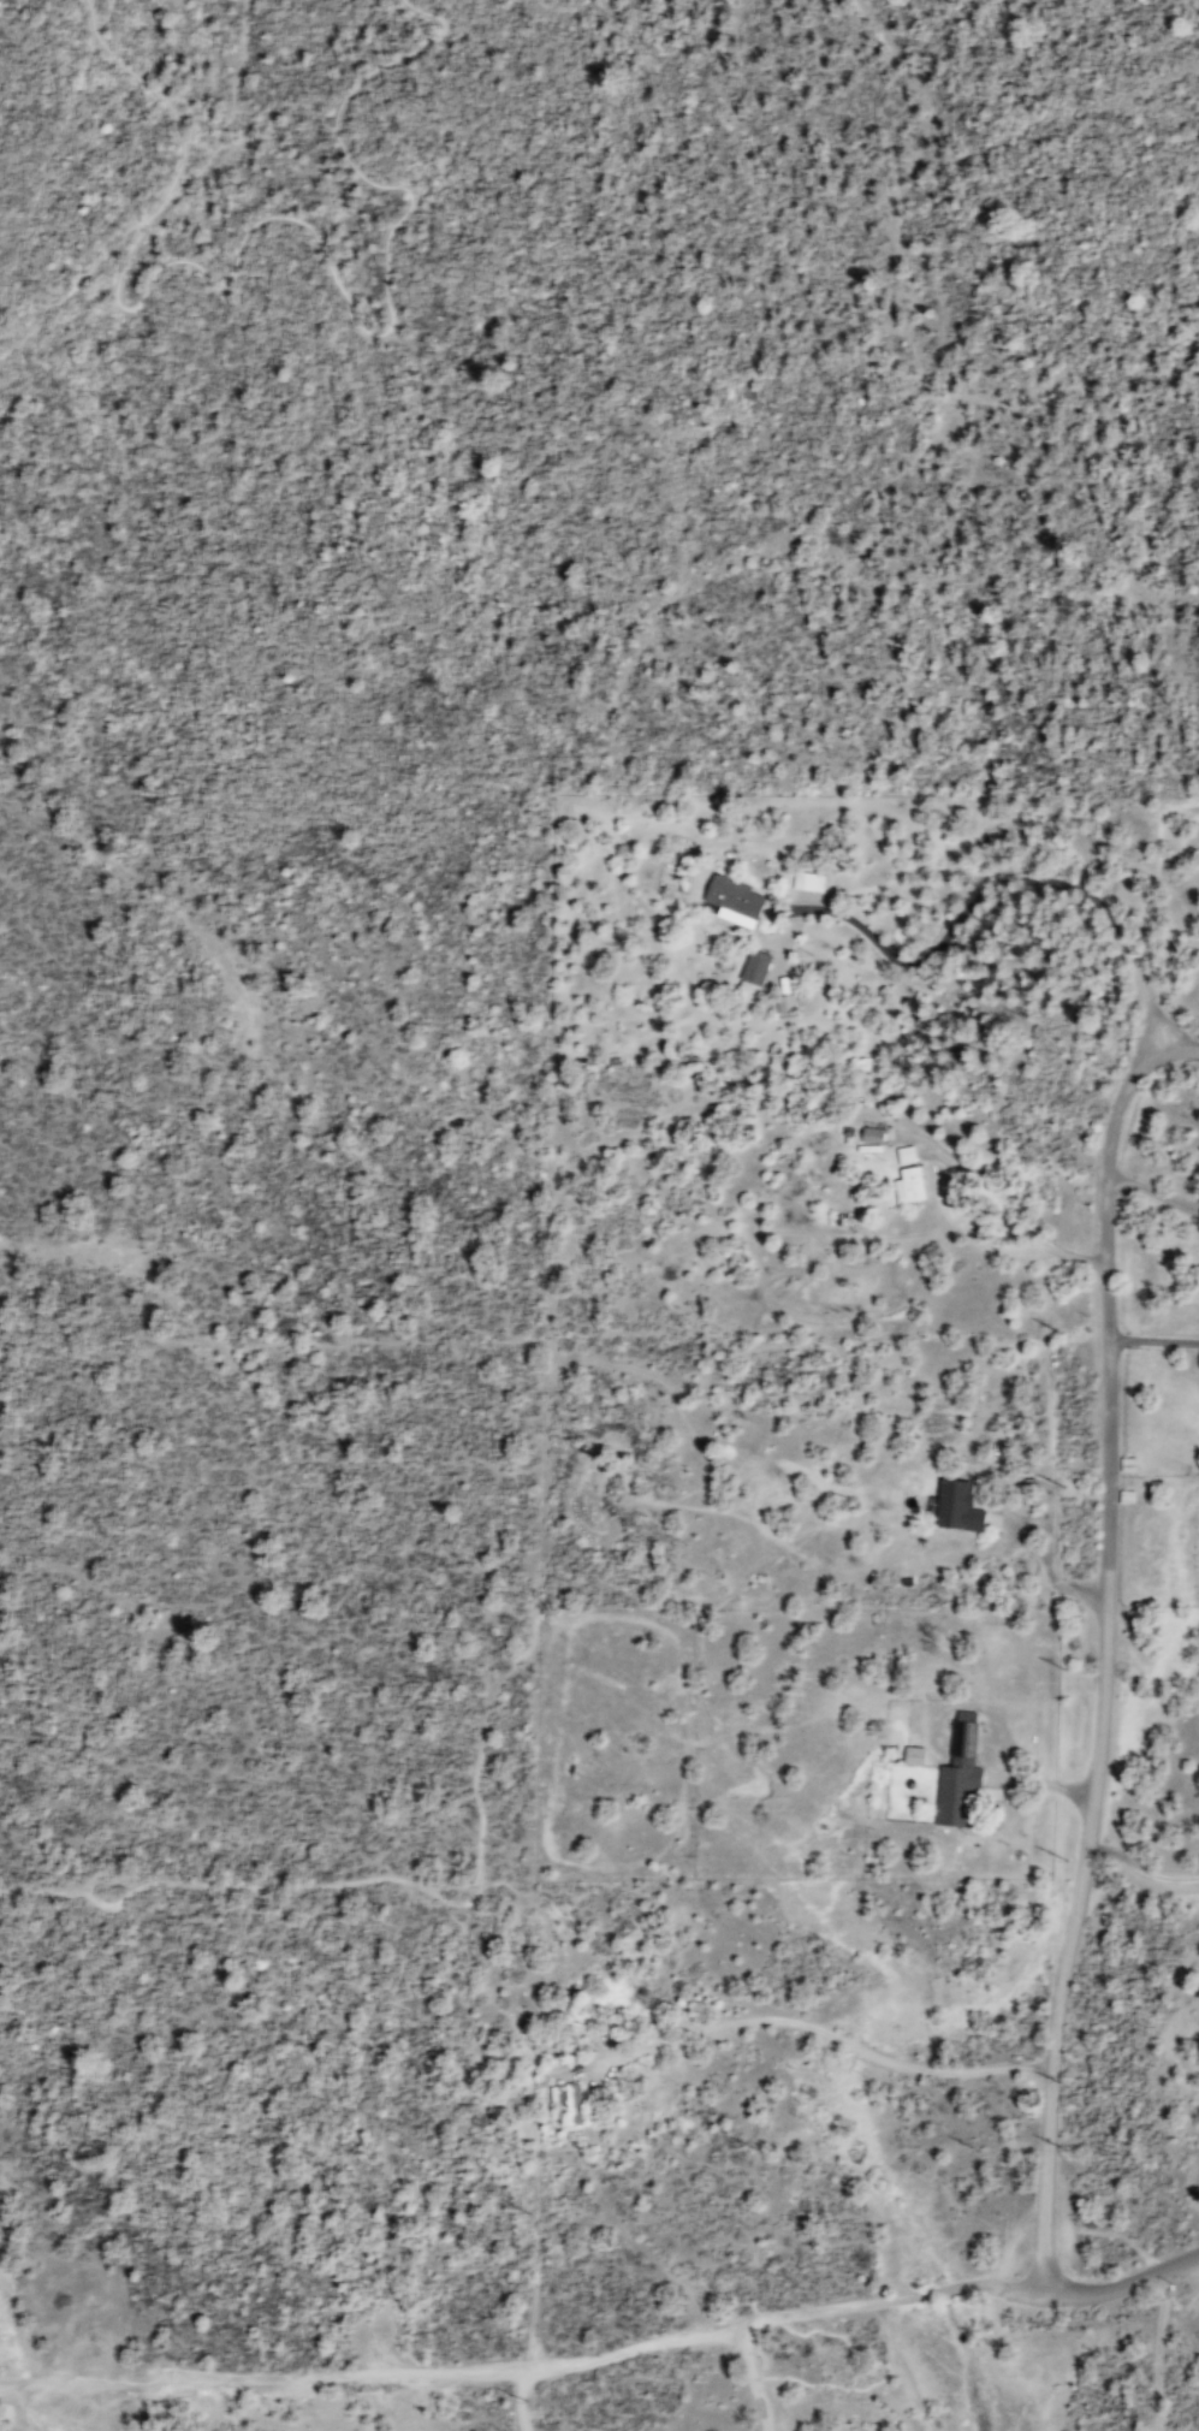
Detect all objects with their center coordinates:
road: (559, 10)
road: (165, 95)
road: (228, 114)
road: (77, 281)
road: (367, 324)
building: (808, 881)
road: (986, 889)
building: (735, 900)
building: (756, 966)
building: (785, 1003)
road: (1181, 1044)
building: (873, 1134)
building: (907, 1154)
building: (910, 1185)
road: (1152, 1191)
road: (1011, 1209)
road: (1153, 1339)
building: (1129, 1464)
building: (1128, 1496)
building: (958, 1506)
road: (1104, 1656)
road: (1002, 1753)
building: (916, 1755)
building: (961, 1774)
road: (1037, 1784)
road: (1140, 1868)
road: (403, 1879)
building: (569, 2103)
road: (534, 2269)
road: (1123, 2283)
road: (889, 2299)
road: (369, 2371)
road: (753, 2379)
road: (521, 2399)

